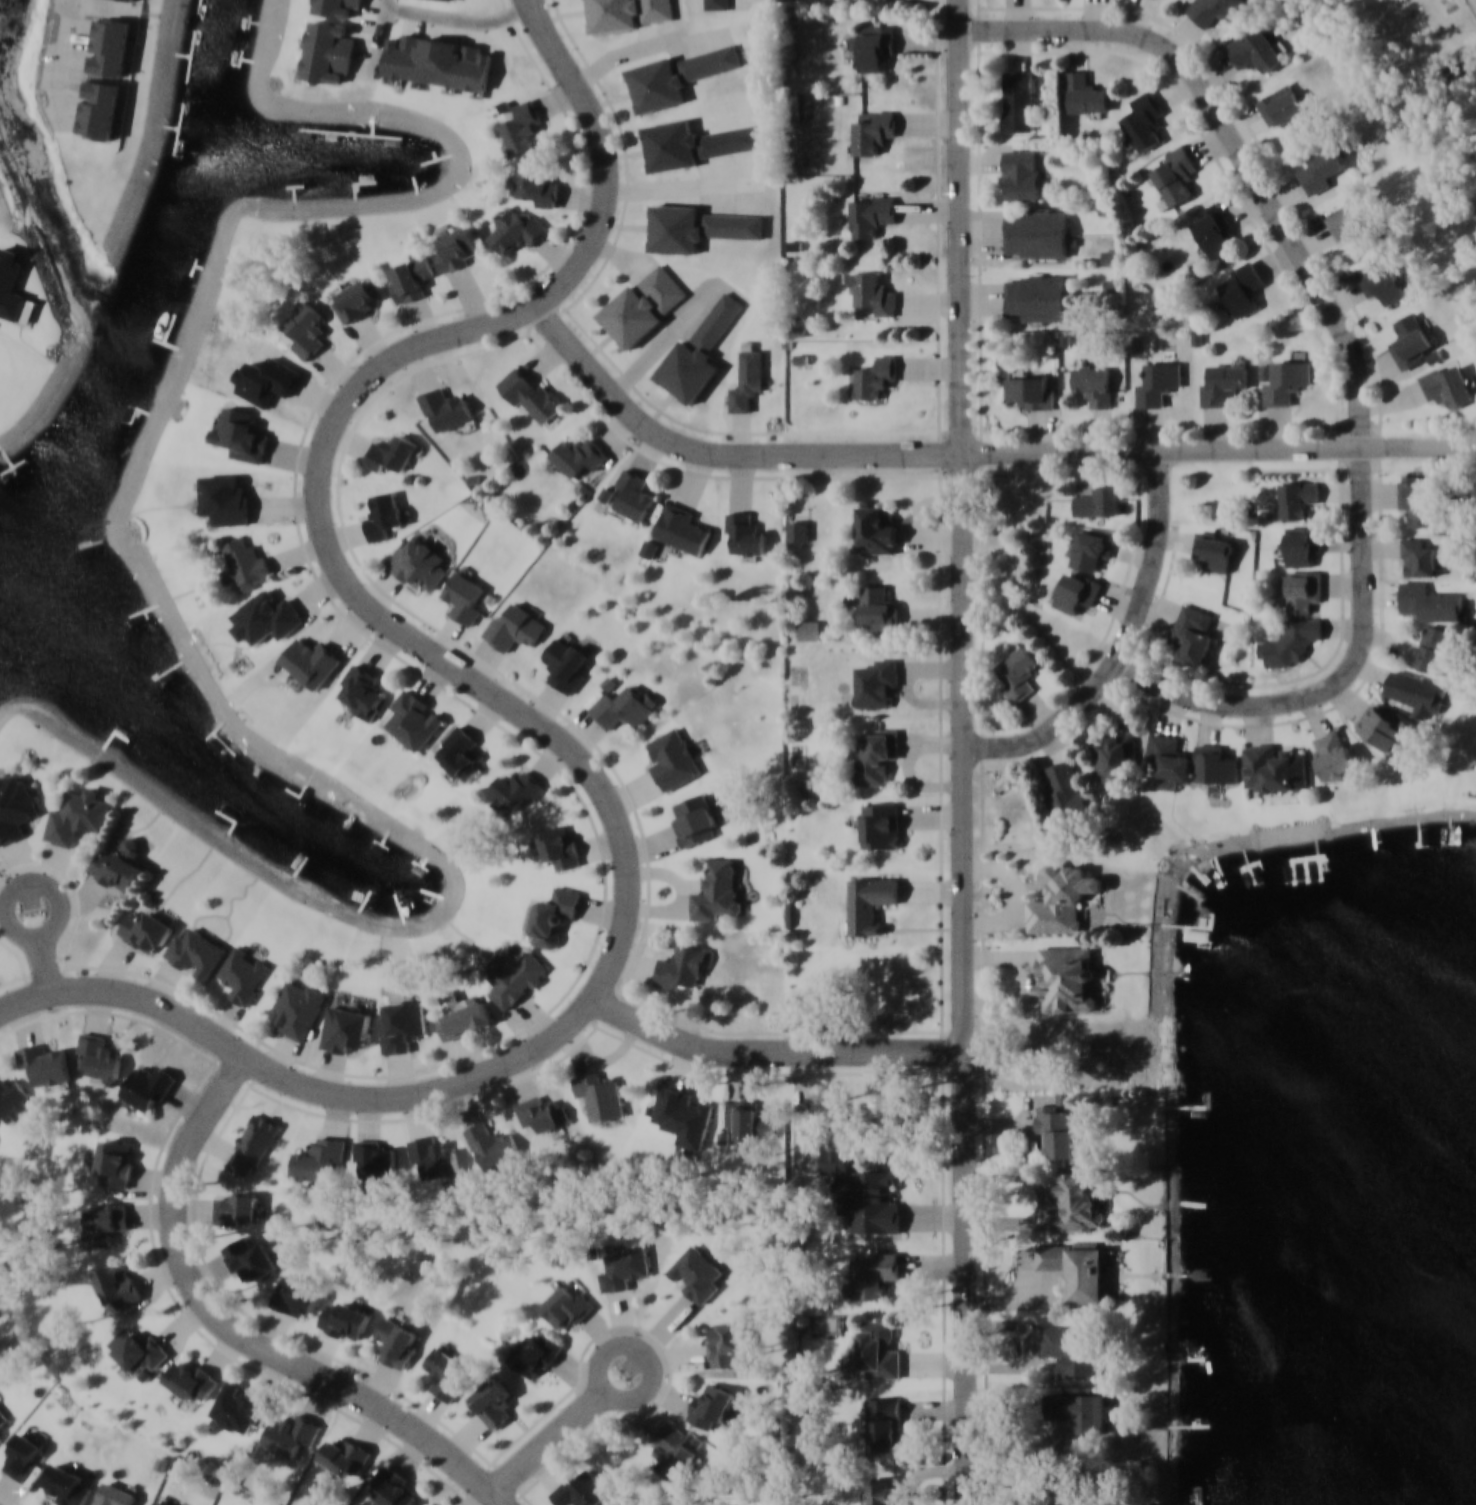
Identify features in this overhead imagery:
building: (717, 4)
building: (336, 7)
building: (1217, 10)
building: (629, 13)
road: (460, 18)
road: (70, 25)
road: (379, 35)
building: (877, 45)
building: (110, 46)
building: (328, 52)
building: (1255, 52)
building: (405, 61)
building: (677, 75)
building: (1084, 93)
building: (1019, 101)
building: (100, 109)
building: (1285, 109)
building: (1144, 121)
building: (521, 127)
building: (873, 133)
building: (693, 143)
road: (1236, 145)
building: (1320, 166)
road: (626, 167)
building: (1023, 174)
building: (1175, 176)
building: (536, 185)
building: (871, 214)
building: (1356, 224)
building: (697, 227)
building: (1213, 228)
building: (515, 229)
building: (1036, 234)
building: (459, 249)
building: (413, 278)
building: (1381, 280)
building: (1243, 288)
building: (873, 291)
building: (1036, 297)
building: (354, 301)
building: (643, 306)
building: (307, 329)
building: (1412, 340)
building: (698, 352)
building: (876, 376)
building: (747, 378)
building: (1285, 381)
building: (1159, 383)
building: (1222, 384)
building: (1093, 385)
building: (1448, 386)
building: (1029, 391)
building: (531, 394)
building: (445, 408)
building: (241, 435)
road: (975, 451)
building: (392, 453)
building: (582, 456)
building: (634, 495)
building: (1298, 497)
building: (225, 499)
building: (1419, 500)
building: (1098, 501)
building: (384, 516)
building: (681, 528)
building: (878, 529)
building: (746, 533)
building: (1302, 544)
building: (649, 547)
building: (1092, 547)
building: (1214, 550)
building: (1418, 556)
building: (246, 561)
building: (419, 563)
building: (1302, 588)
building: (1077, 592)
building: (464, 597)
building: (1430, 601)
building: (880, 607)
building: (266, 617)
building: (515, 627)
building: (1192, 633)
building: (1293, 640)
road: (1124, 647)
building: (1435, 648)
building: (565, 662)
building: (311, 663)
building: (1019, 672)
road: (1340, 679)
building: (876, 683)
building: (363, 690)
building: (1418, 691)
building: (623, 706)
building: (414, 719)
road: (528, 720)
building: (1385, 725)
building: (459, 751)
road: (964, 752)
building: (875, 754)
building: (1335, 754)
building: (1116, 757)
building: (674, 759)
building: (1169, 760)
building: (1216, 764)
building: (1275, 768)
building: (514, 788)
building: (1067, 795)
building: (15, 805)
building: (78, 816)
building: (694, 819)
building: (881, 824)
building: (560, 845)
building: (120, 864)
road: (49, 888)
building: (716, 891)
building: (1063, 899)
road: (1016, 900)
building: (870, 903)
building: (551, 916)
building: (146, 931)
building: (197, 951)
building: (682, 966)
building: (245, 974)
building: (1066, 977)
road: (1029, 978)
building: (518, 981)
building: (298, 1007)
building: (463, 1019)
building: (403, 1025)
building: (346, 1027)
road: (774, 1053)
building: (100, 1056)
building: (45, 1063)
building: (147, 1088)
building: (600, 1095)
building: (11, 1100)
building: (542, 1112)
building: (683, 1115)
building: (748, 1120)
building: (1057, 1128)
building: (253, 1144)
building: (492, 1145)
building: (436, 1156)
building: (318, 1158)
building: (375, 1158)
building: (116, 1163)
building: (865, 1193)
building: (1078, 1200)
building: (241, 1207)
building: (107, 1222)
building: (253, 1258)
building: (624, 1266)
building: (1078, 1269)
building: (696, 1273)
building: (874, 1273)
building: (117, 1286)
building: (295, 1296)
building: (566, 1306)
building: (345, 1320)
road: (237, 1334)
building: (397, 1341)
building: (727, 1343)
building: (879, 1349)
building: (1073, 1349)
building: (138, 1352)
building: (537, 1354)
building: (445, 1373)
building: (192, 1381)
road: (620, 1399)
building: (494, 1401)
building: (710, 1406)
building: (240, 1408)
building: (1079, 1410)
building: (3, 1416)
building: (884, 1424)
building: (290, 1434)
building: (1, 1436)
building: (673, 1450)
building: (344, 1454)
building: (24, 1457)
building: (68, 1484)
building: (395, 1487)
building: (582, 1489)
building: (883, 1492)
building: (116, 1494)
building: (161, 1502)

